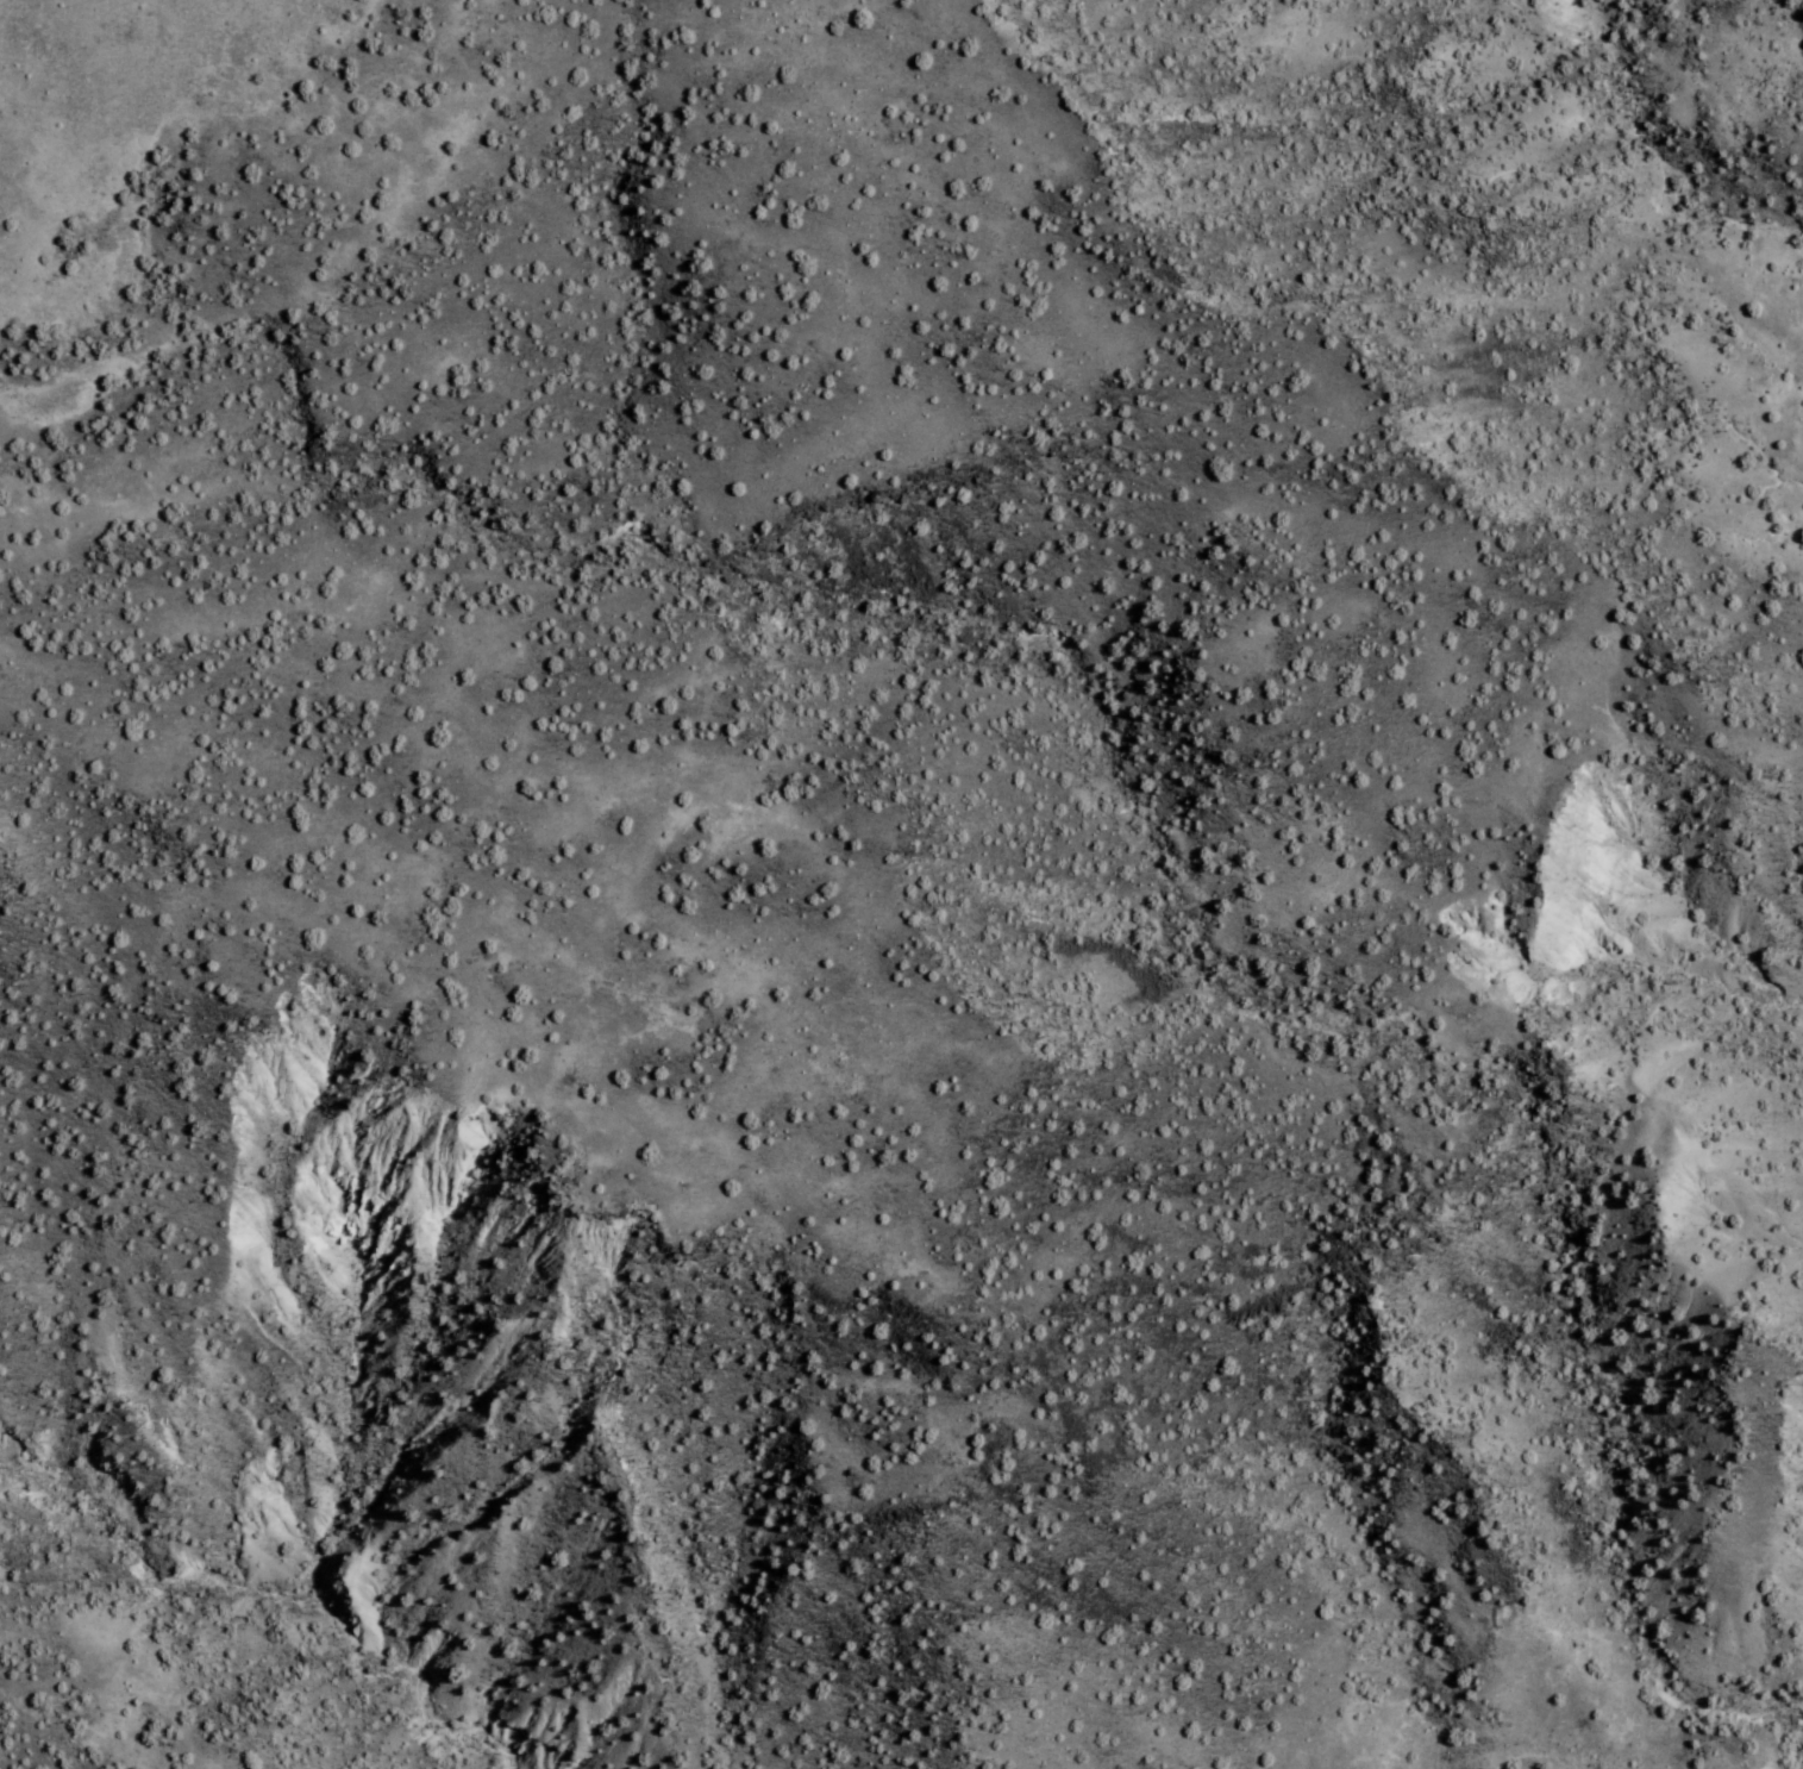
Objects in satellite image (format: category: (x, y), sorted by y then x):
road: (1496, 149)
road: (148, 218)

